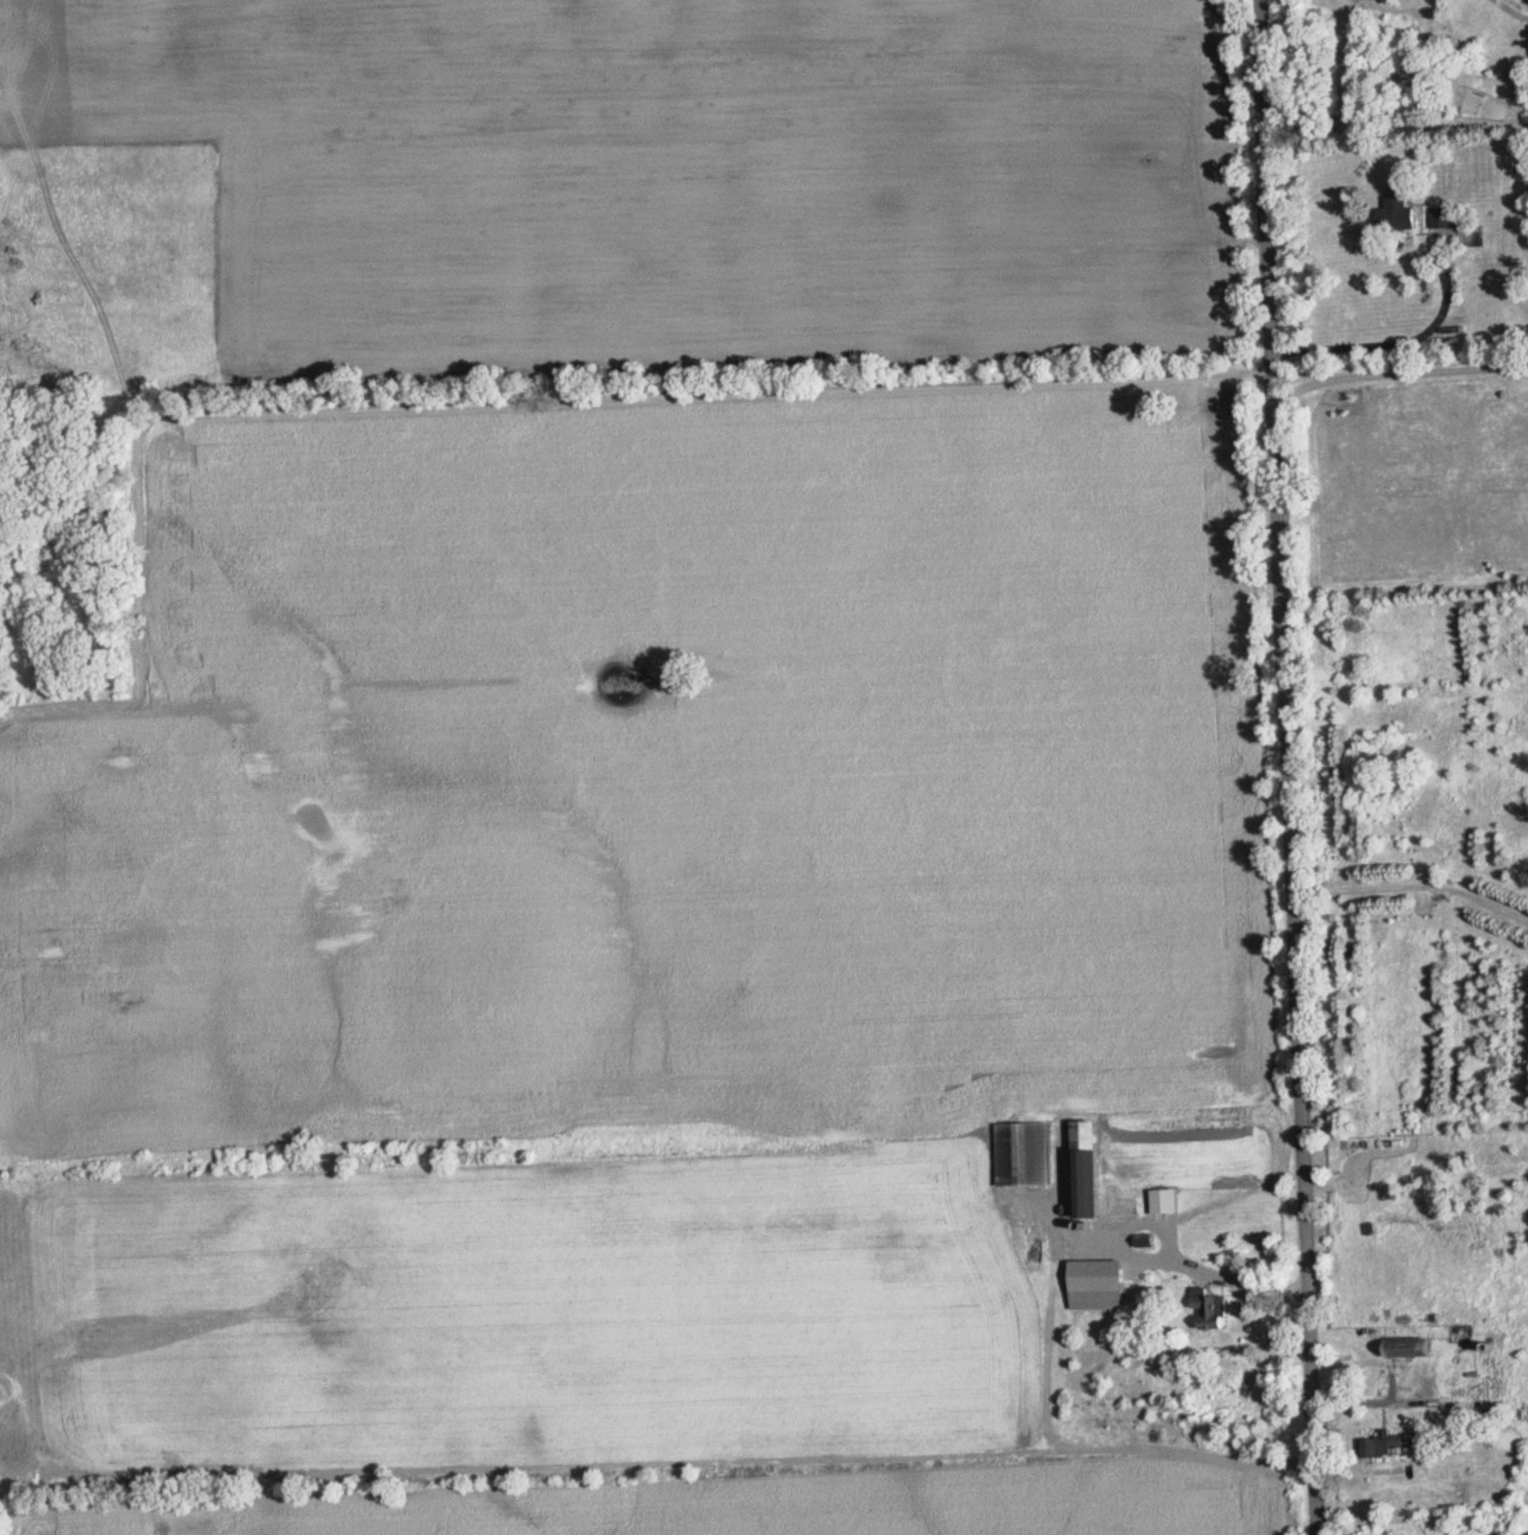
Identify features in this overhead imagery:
road: (1510, 10)
building: (1395, 212)
building: (1443, 217)
road: (1380, 347)
road: (1392, 376)
road: (1276, 767)
road: (1407, 879)
building: (1021, 1153)
building: (1084, 1168)
building: (1163, 1200)
road: (1131, 1245)
building: (1096, 1284)
building: (1209, 1308)
building: (1407, 1346)
building: (1101, 1356)
building: (1491, 1373)
road: (1384, 1403)
building: (1379, 1443)

